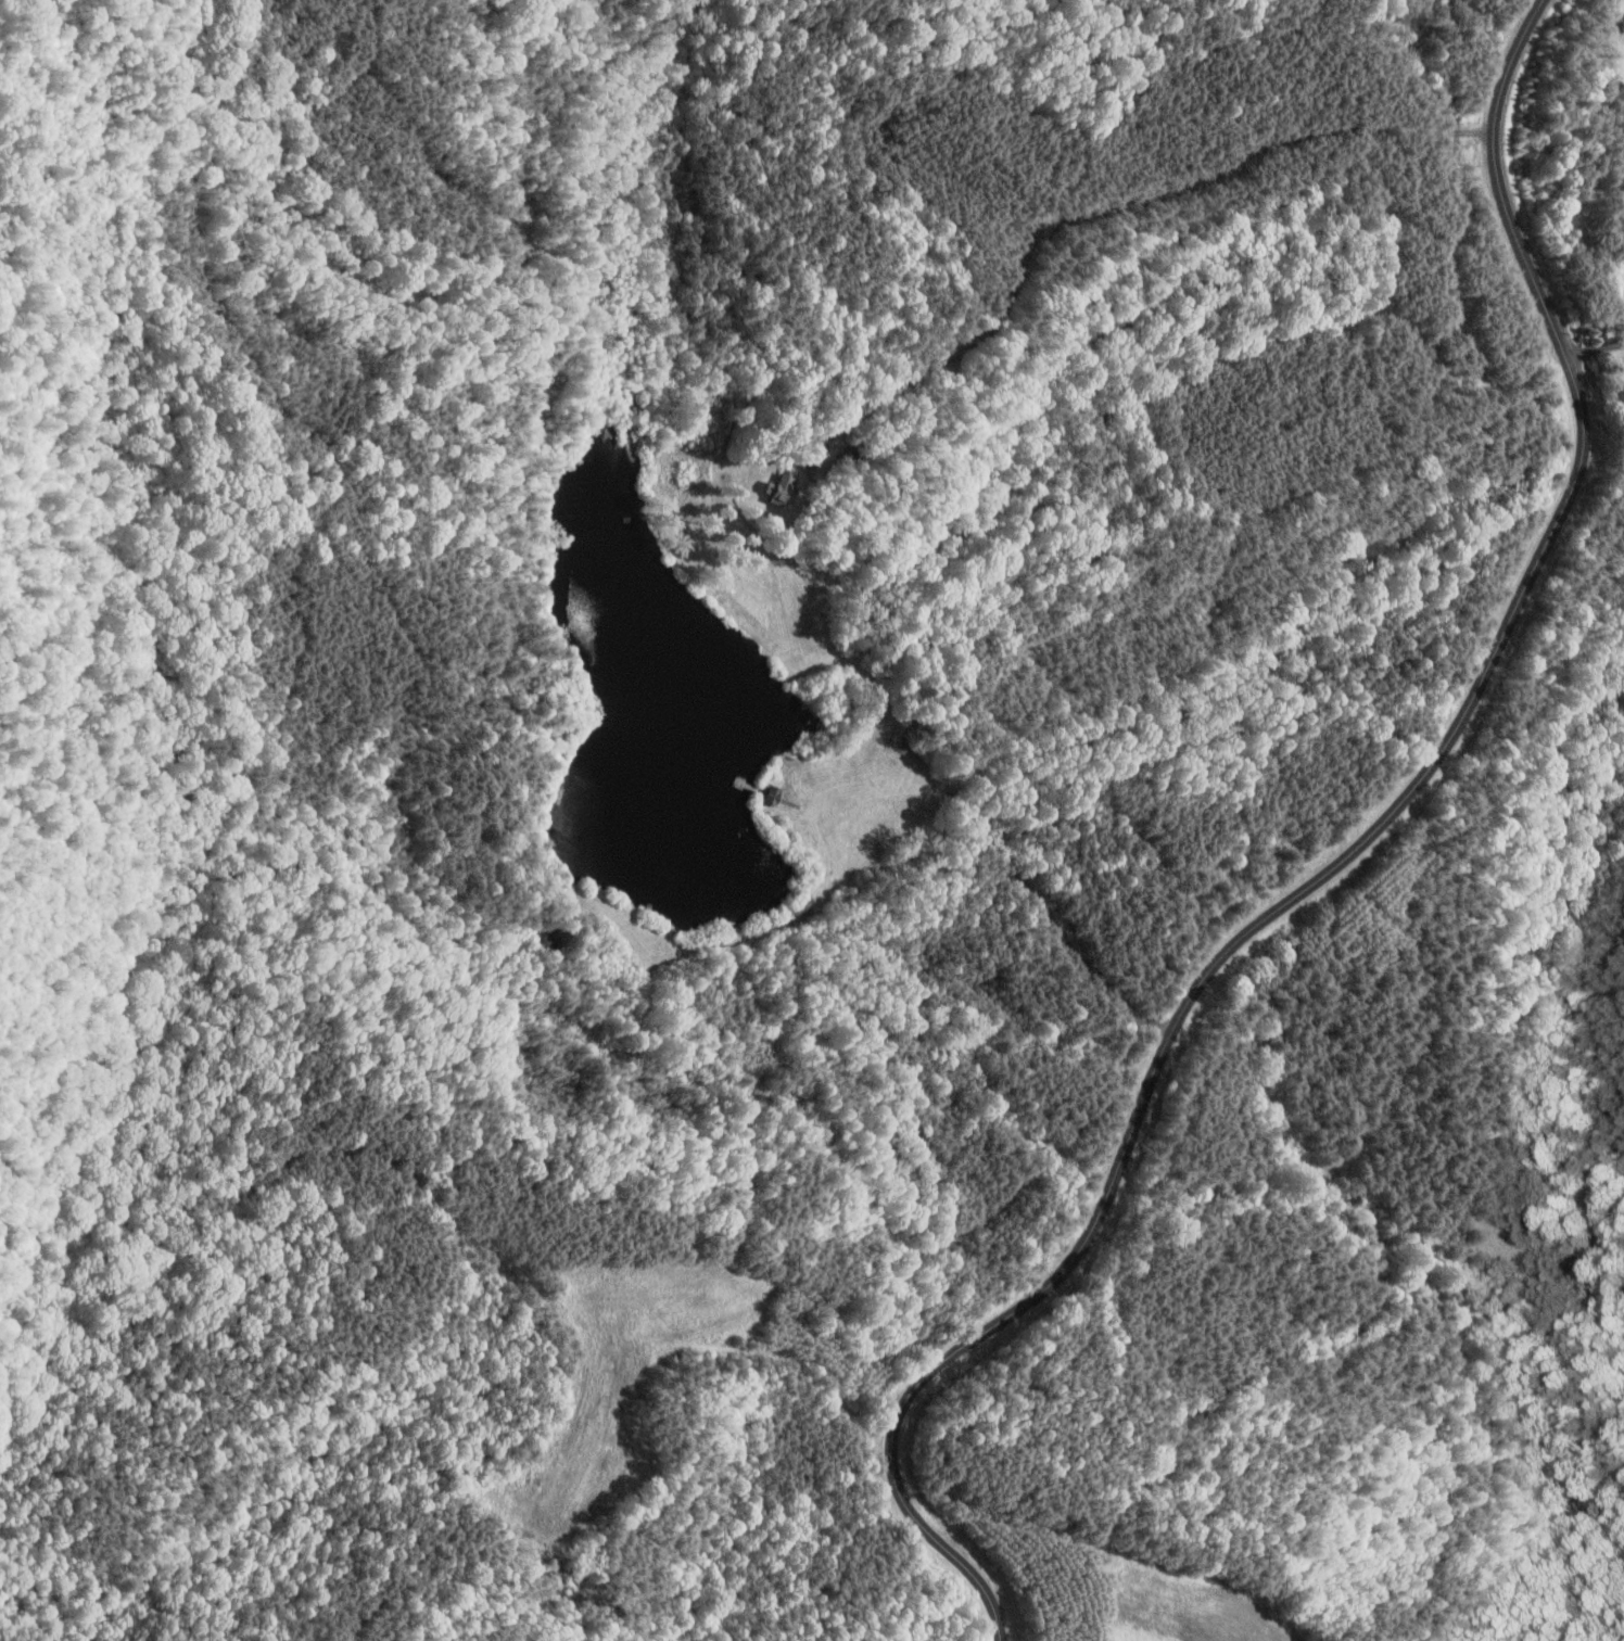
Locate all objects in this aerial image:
building: (1623, 277)
road: (1593, 349)
road: (1332, 870)

